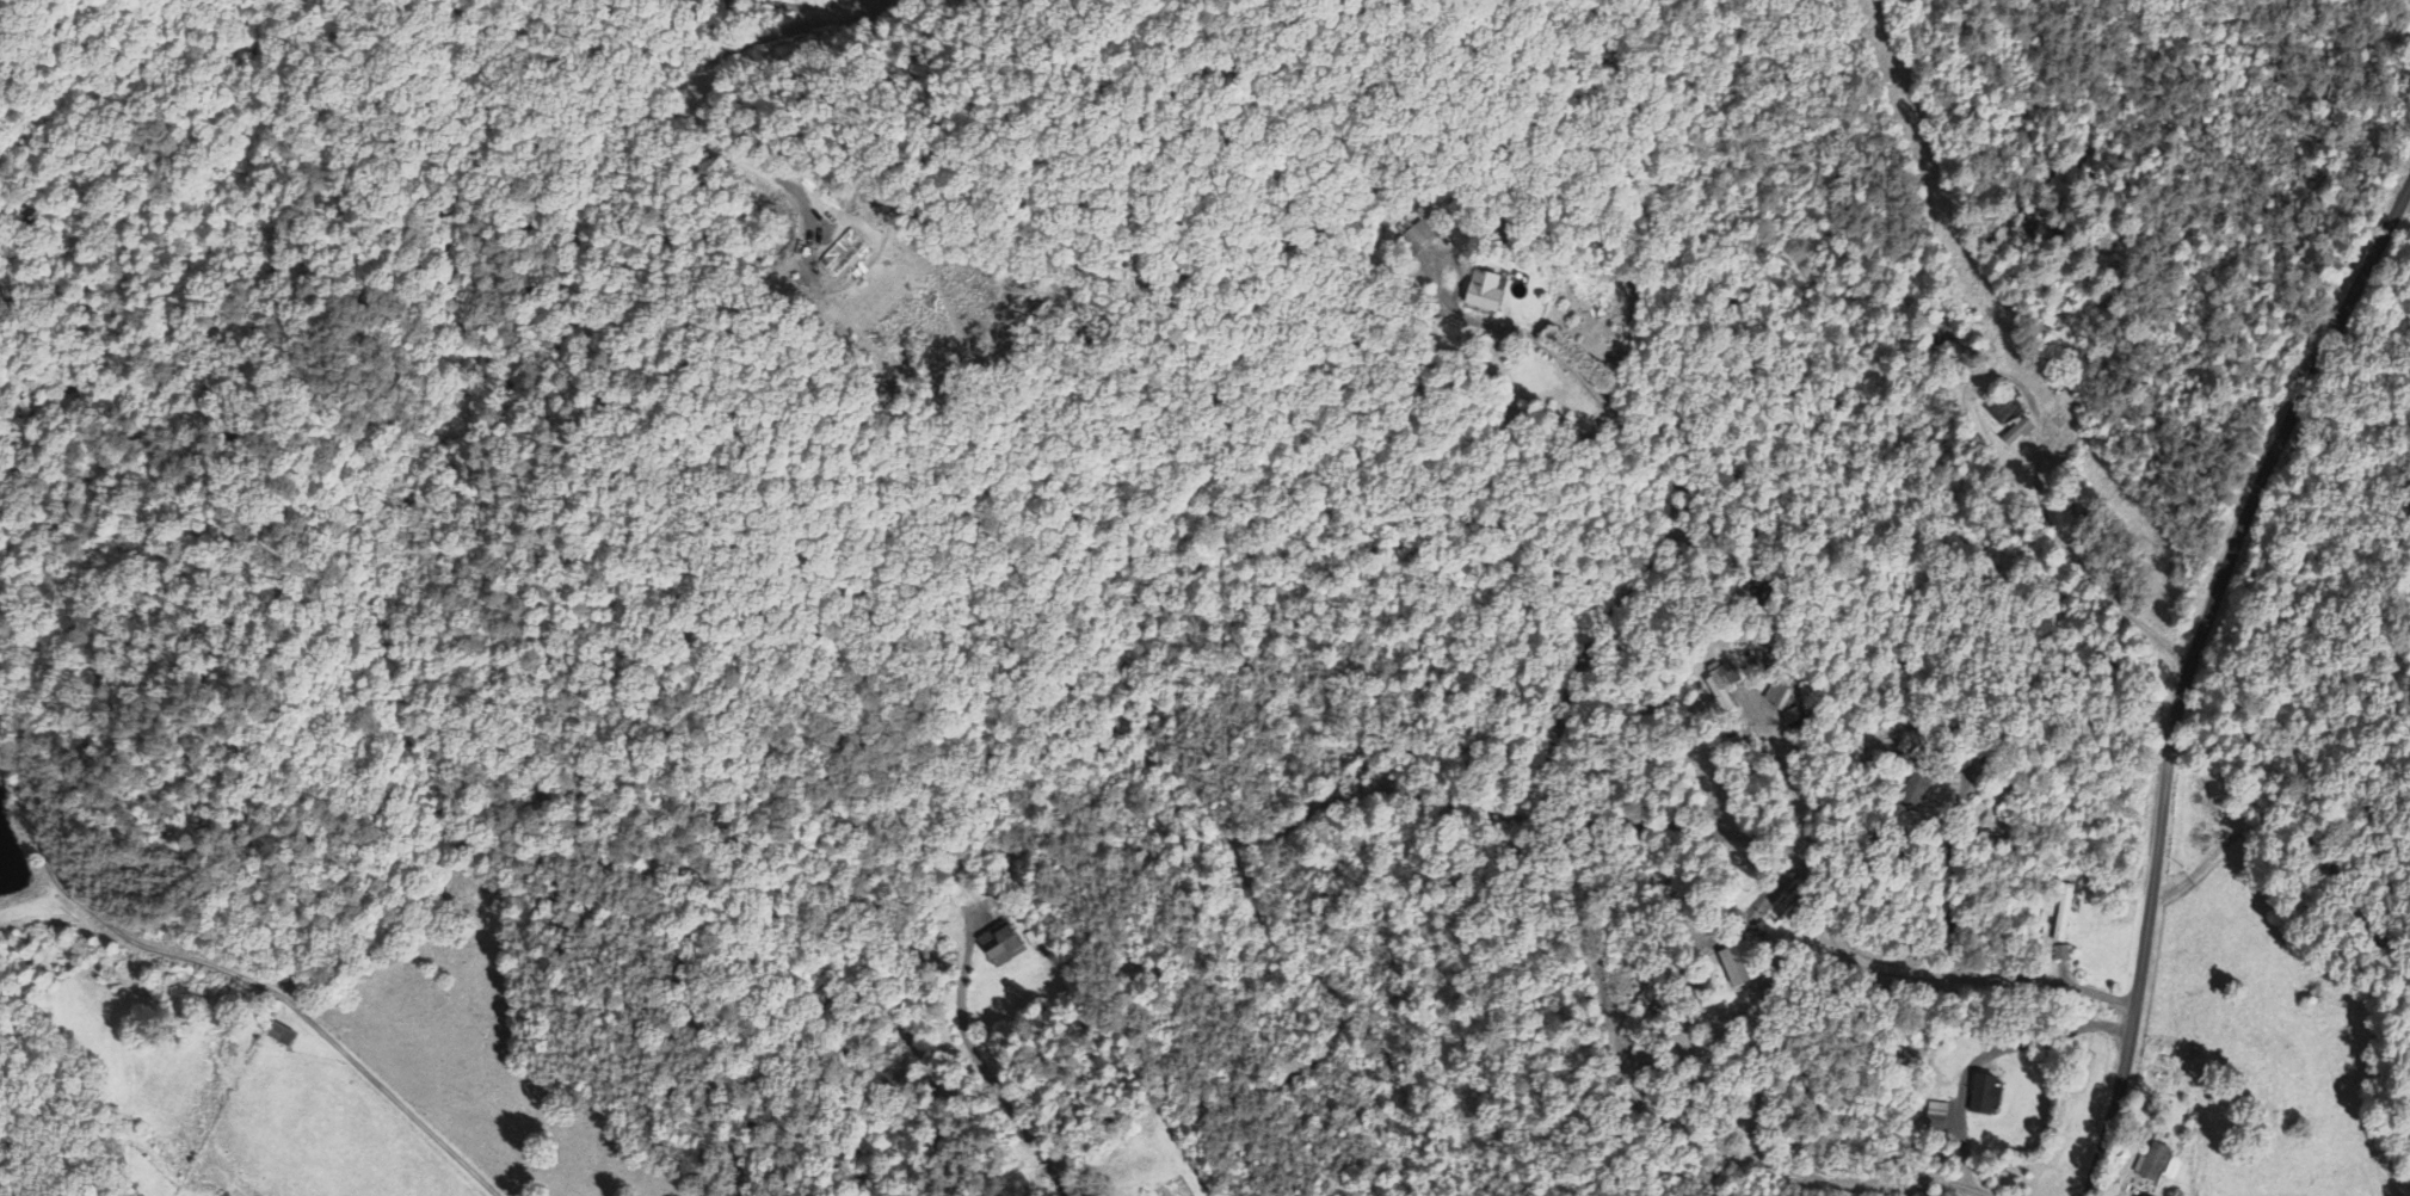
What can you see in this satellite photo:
road: (839, 7)
road: (747, 41)
building: (1417, 236)
building: (1485, 292)
road: (1580, 371)
building: (2003, 413)
road: (2189, 671)
building: (1725, 688)
building: (1781, 697)
road: (1552, 784)
building: (1010, 945)
road: (1940, 973)
road: (259, 988)
building: (284, 1035)
building: (1991, 1096)
building: (1943, 1117)
building: (2153, 1164)
road: (1812, 1171)

